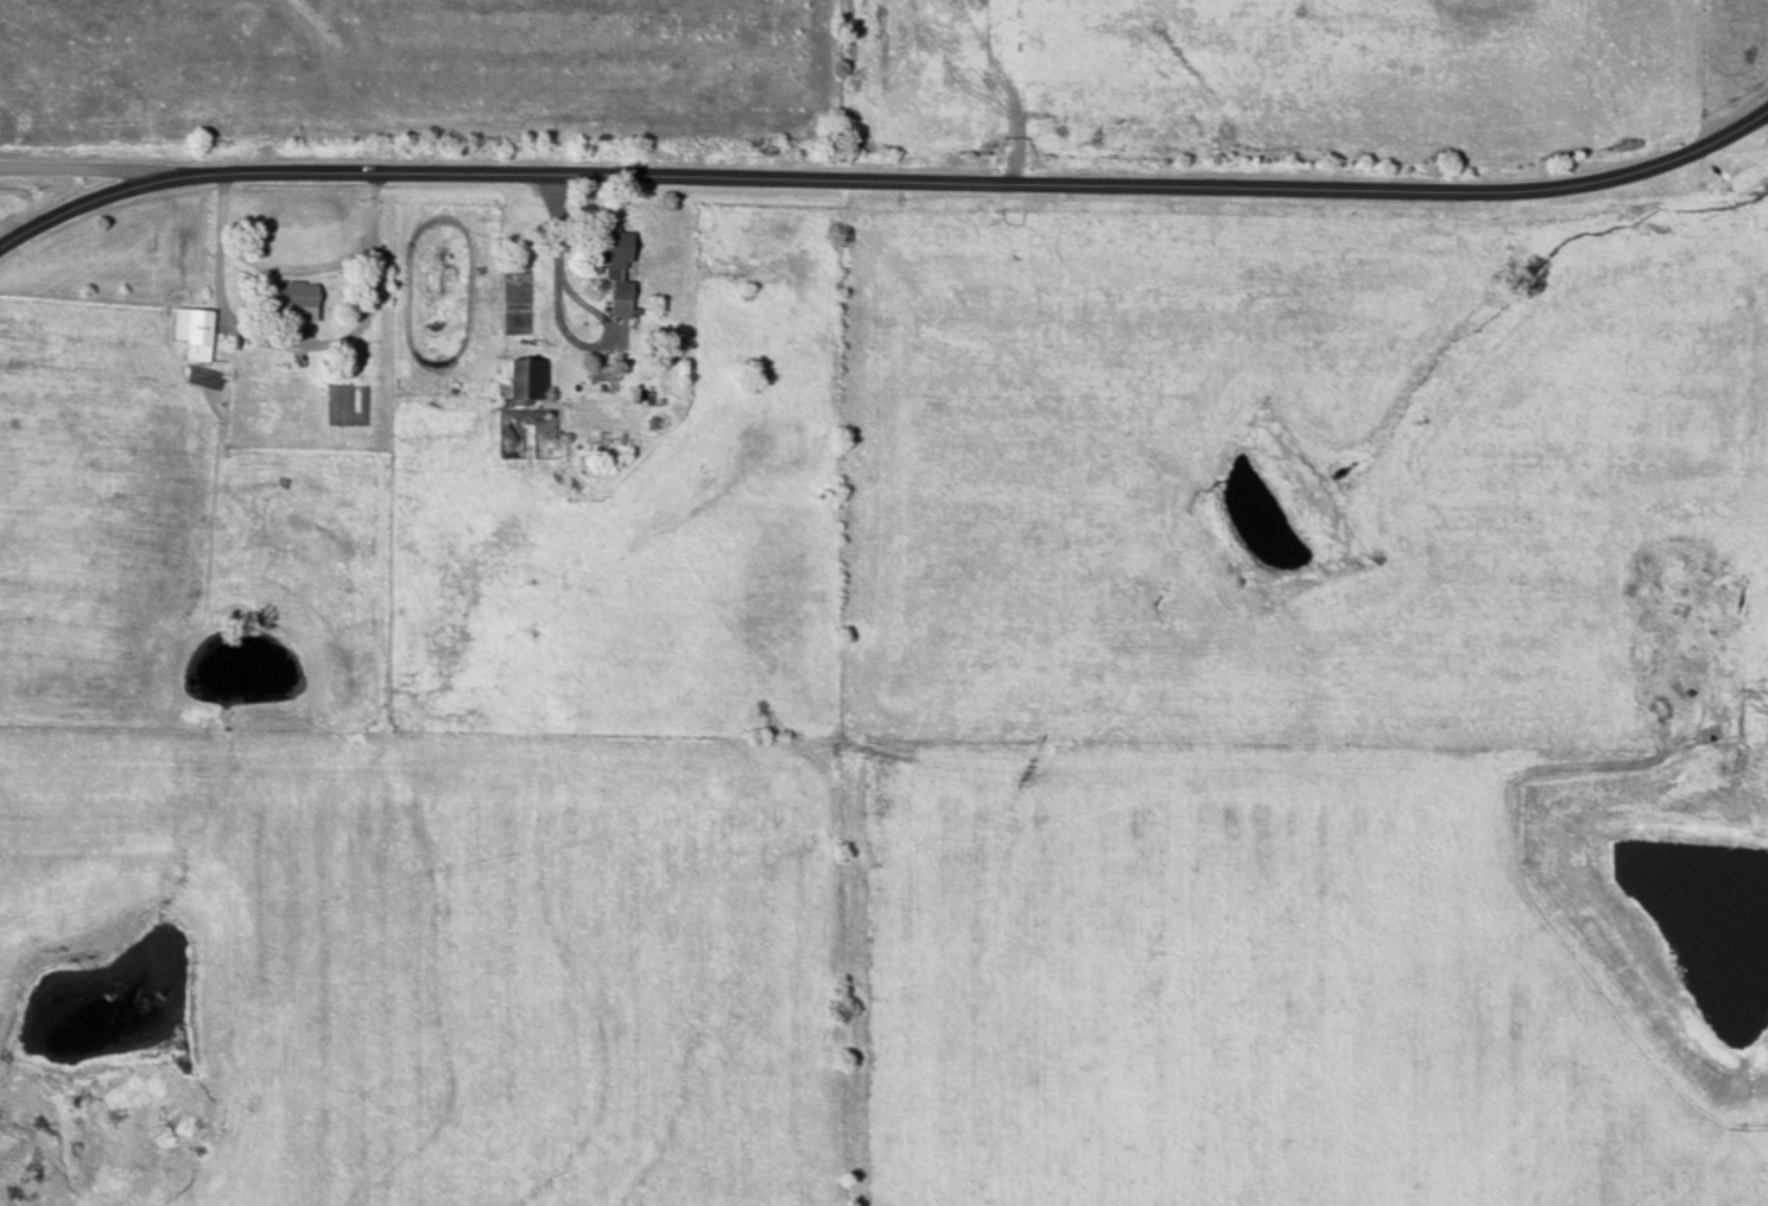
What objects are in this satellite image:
road: (83, 169)
road: (975, 184)
road: (81, 204)
road: (298, 271)
building: (619, 272)
building: (297, 301)
building: (194, 334)
road: (294, 347)
building: (602, 375)
building: (524, 382)
building: (638, 391)

